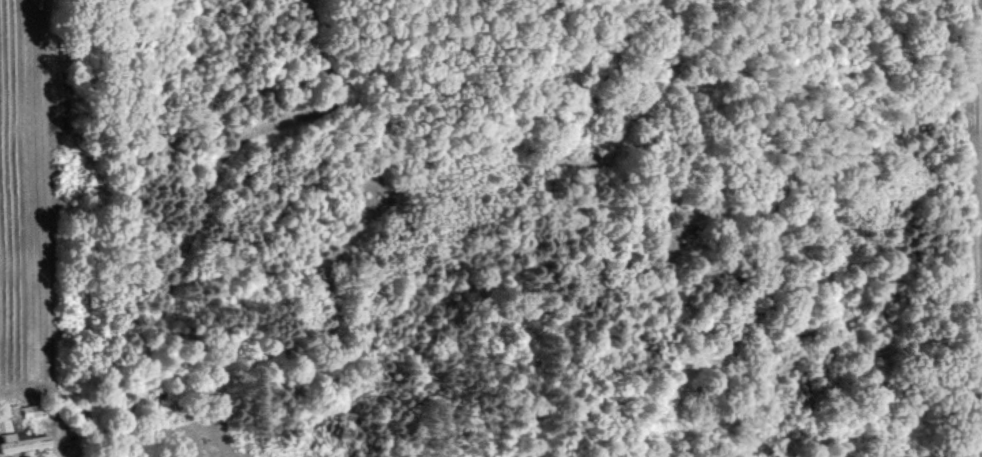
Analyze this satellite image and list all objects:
building: (29, 410)
building: (22, 440)

